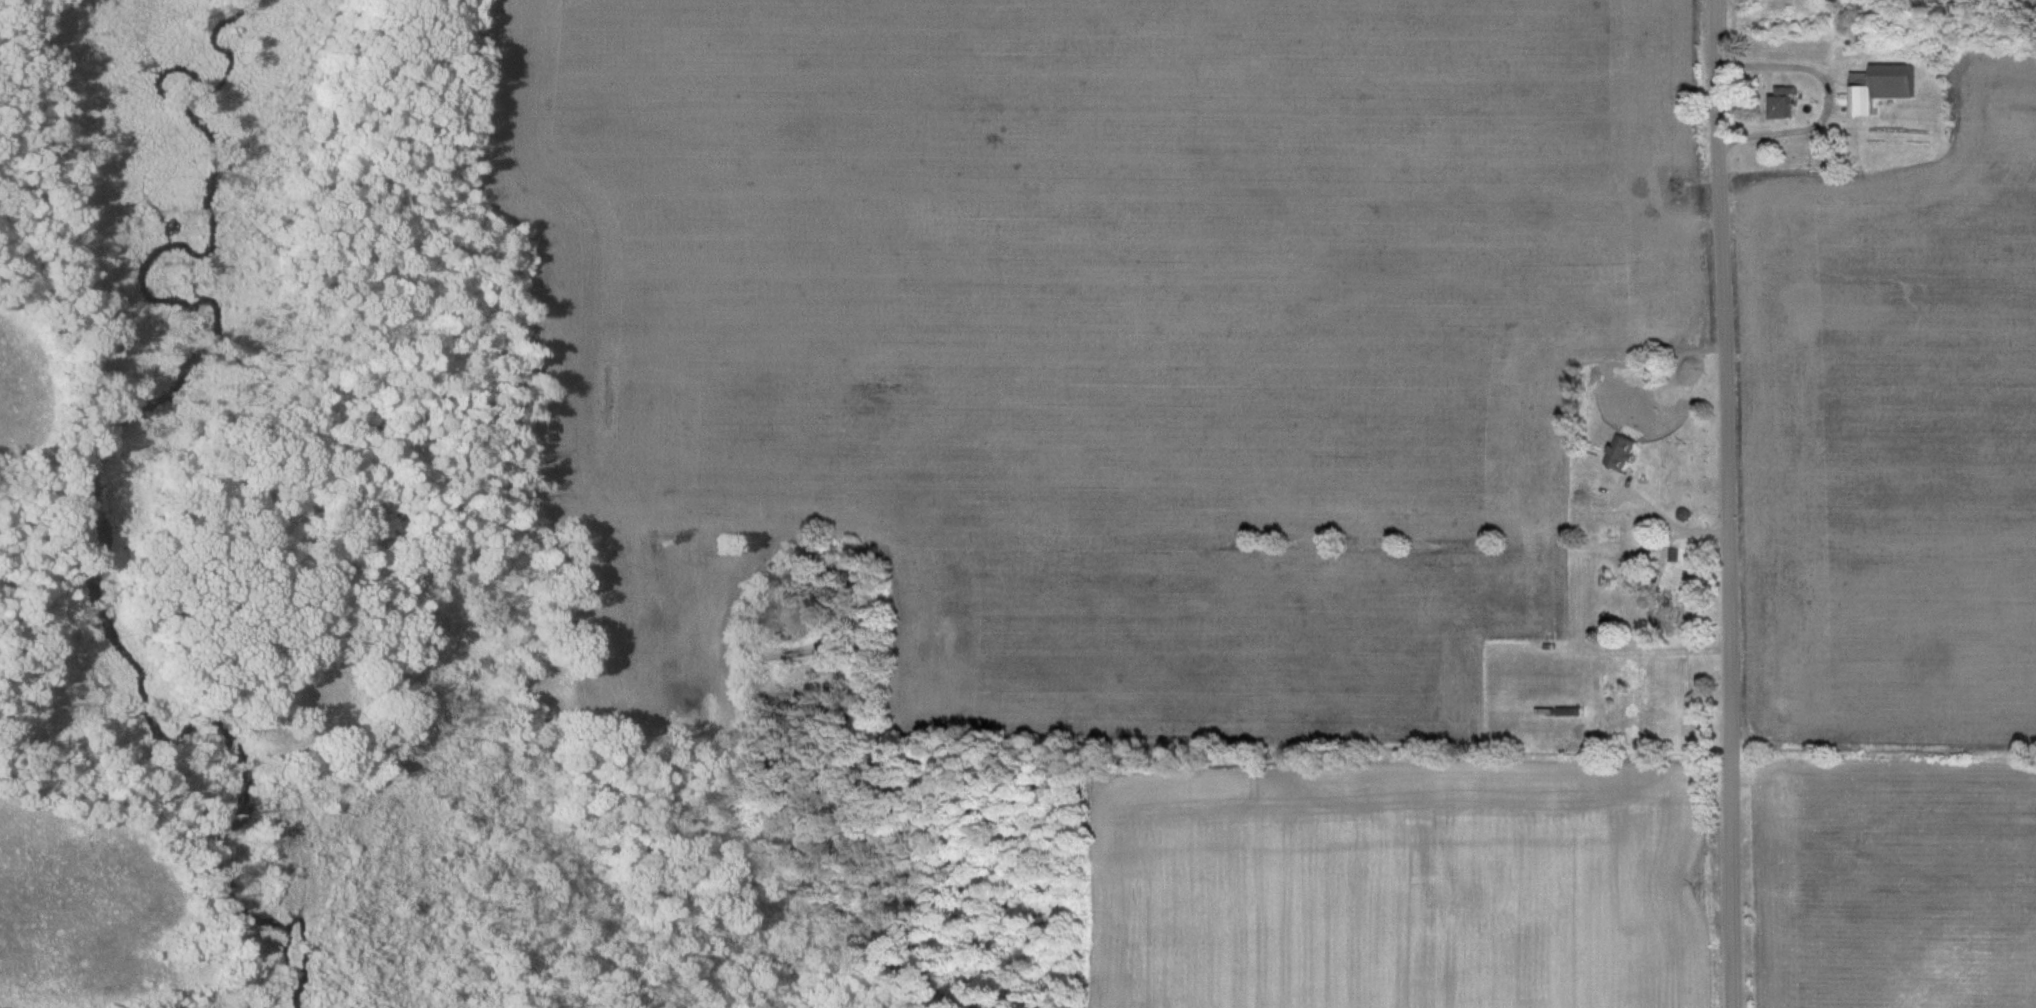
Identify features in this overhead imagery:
building: (1882, 88)
road: (1834, 98)
building: (1785, 104)
crop: (1897, 438)
building: (1662, 482)
road: (1728, 503)
road: (1670, 524)
building: (1668, 609)
building: (1561, 711)

